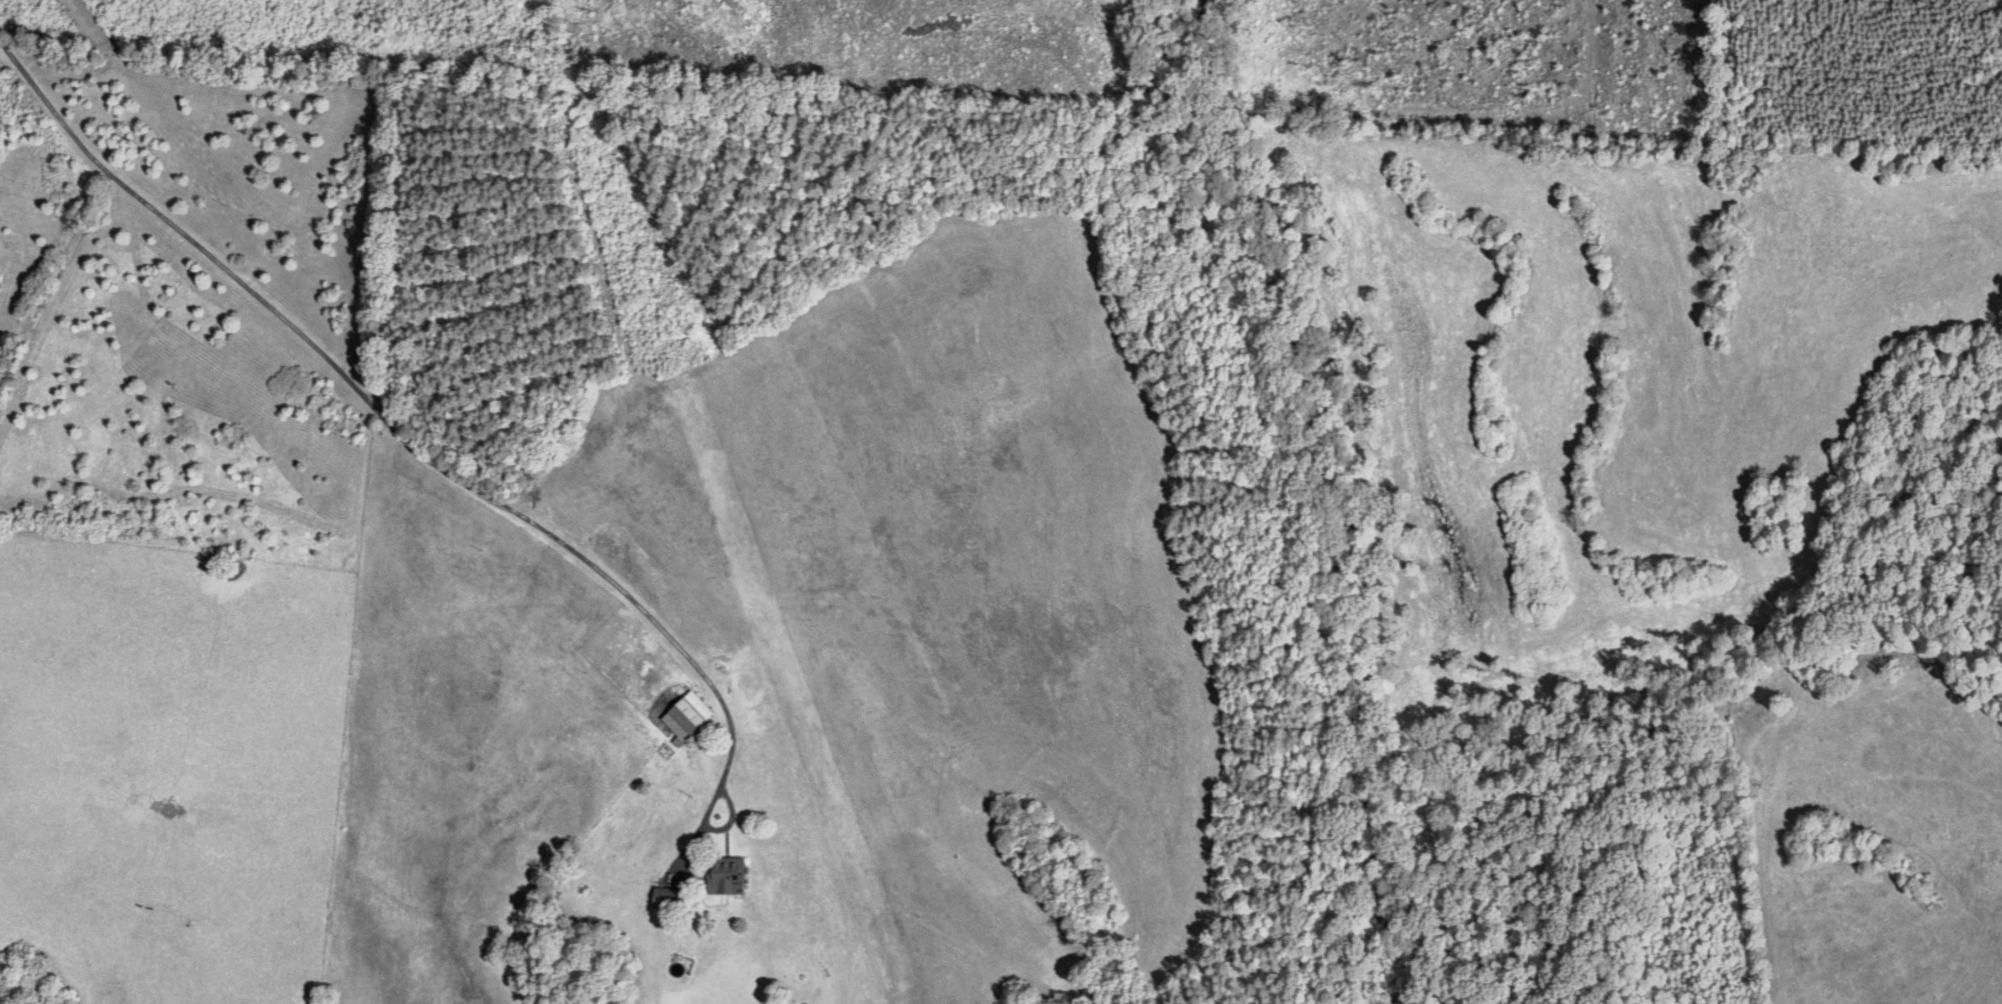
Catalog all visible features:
road: (92, 218)
road: (469, 507)
building: (689, 716)
airport runway: (836, 803)
building: (729, 875)
building: (669, 898)

